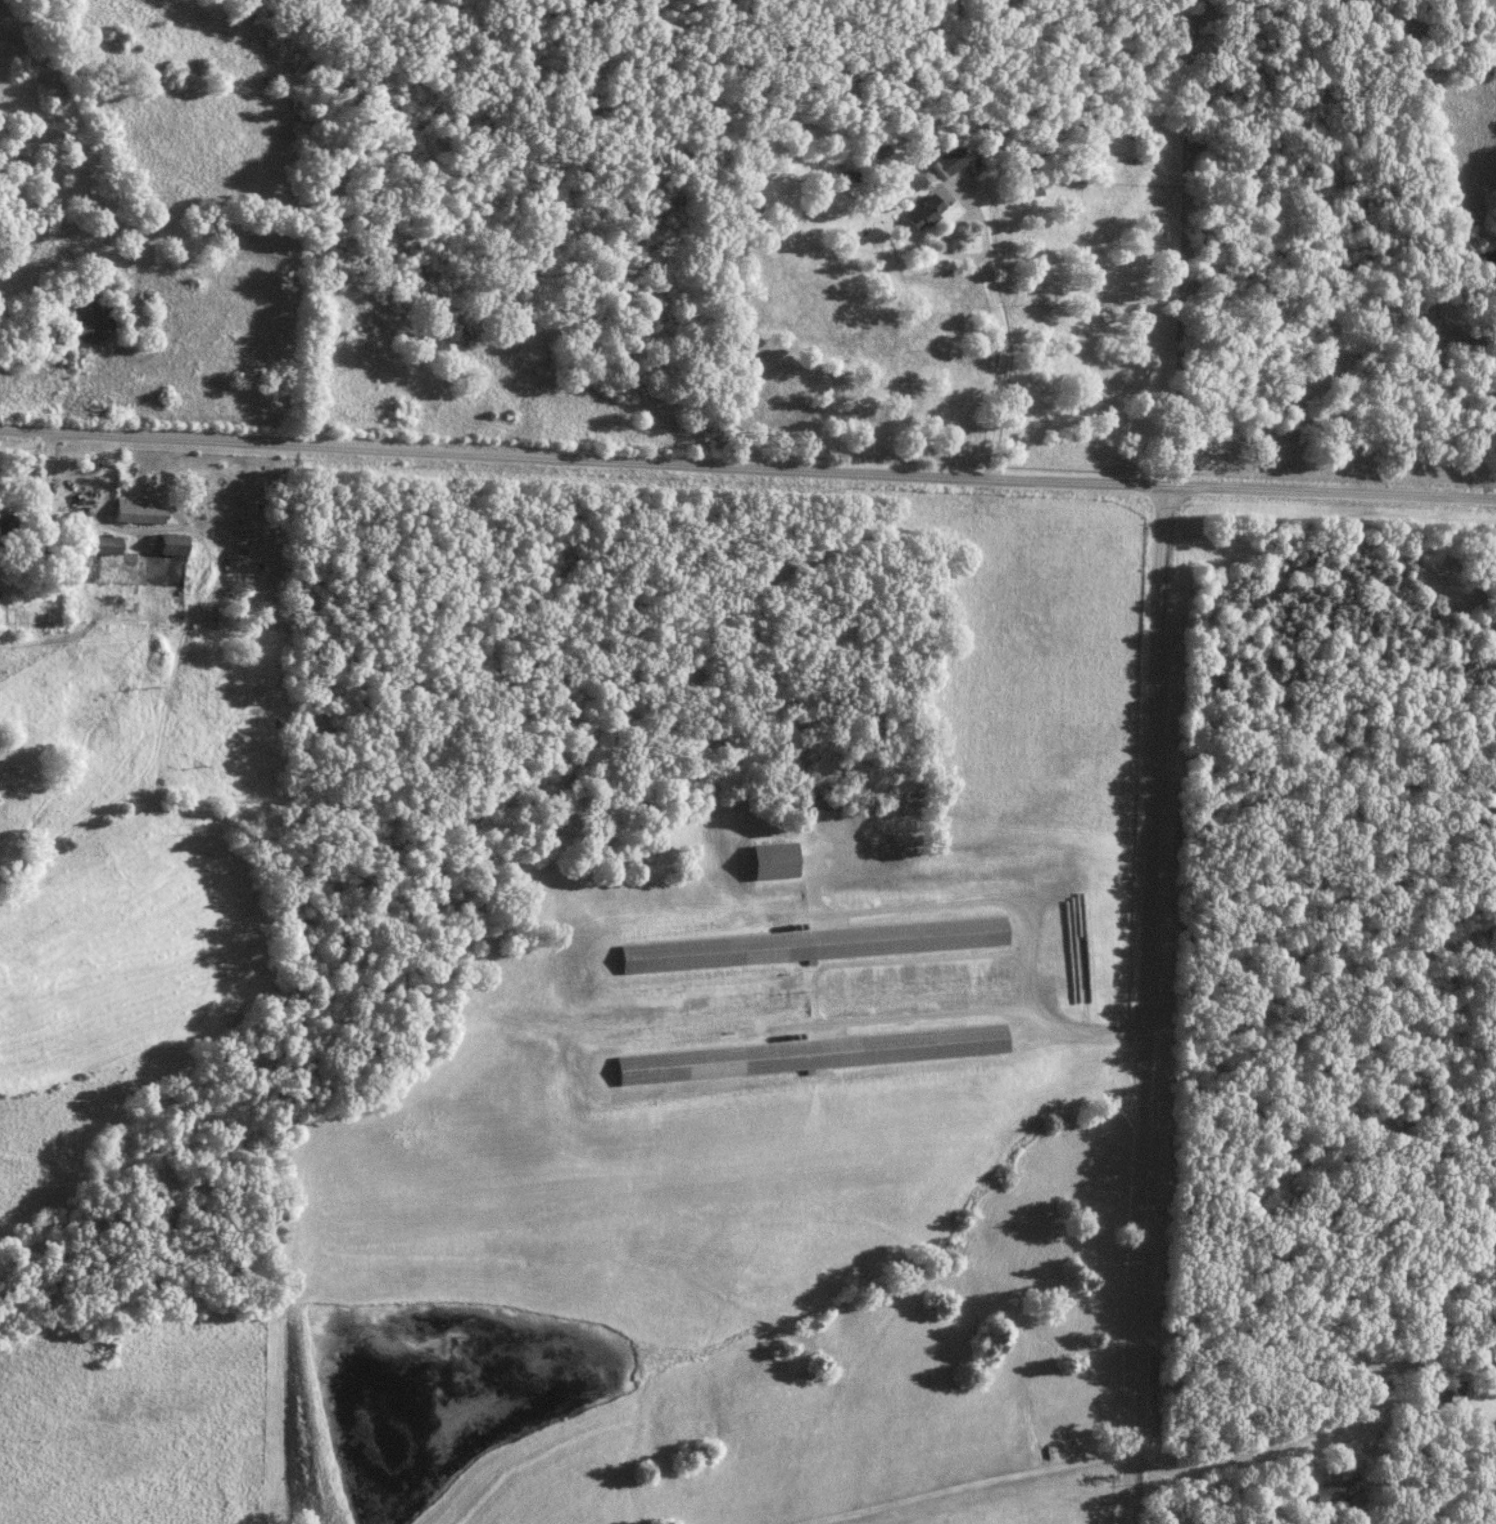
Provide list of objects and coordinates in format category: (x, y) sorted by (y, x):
building: (919, 214)
road: (1456, 300)
road: (1004, 329)
road: (747, 467)
road: (75, 498)
building: (135, 513)
building: (99, 546)
building: (167, 546)
building: (52, 554)
building: (767, 864)
road: (1008, 901)
building: (809, 947)
road: (1148, 1004)
building: (806, 1055)
building: (1382, 1389)
building: (1454, 1392)
road: (1262, 1447)
road: (968, 1485)
building: (1334, 1492)
road: (1128, 1497)

